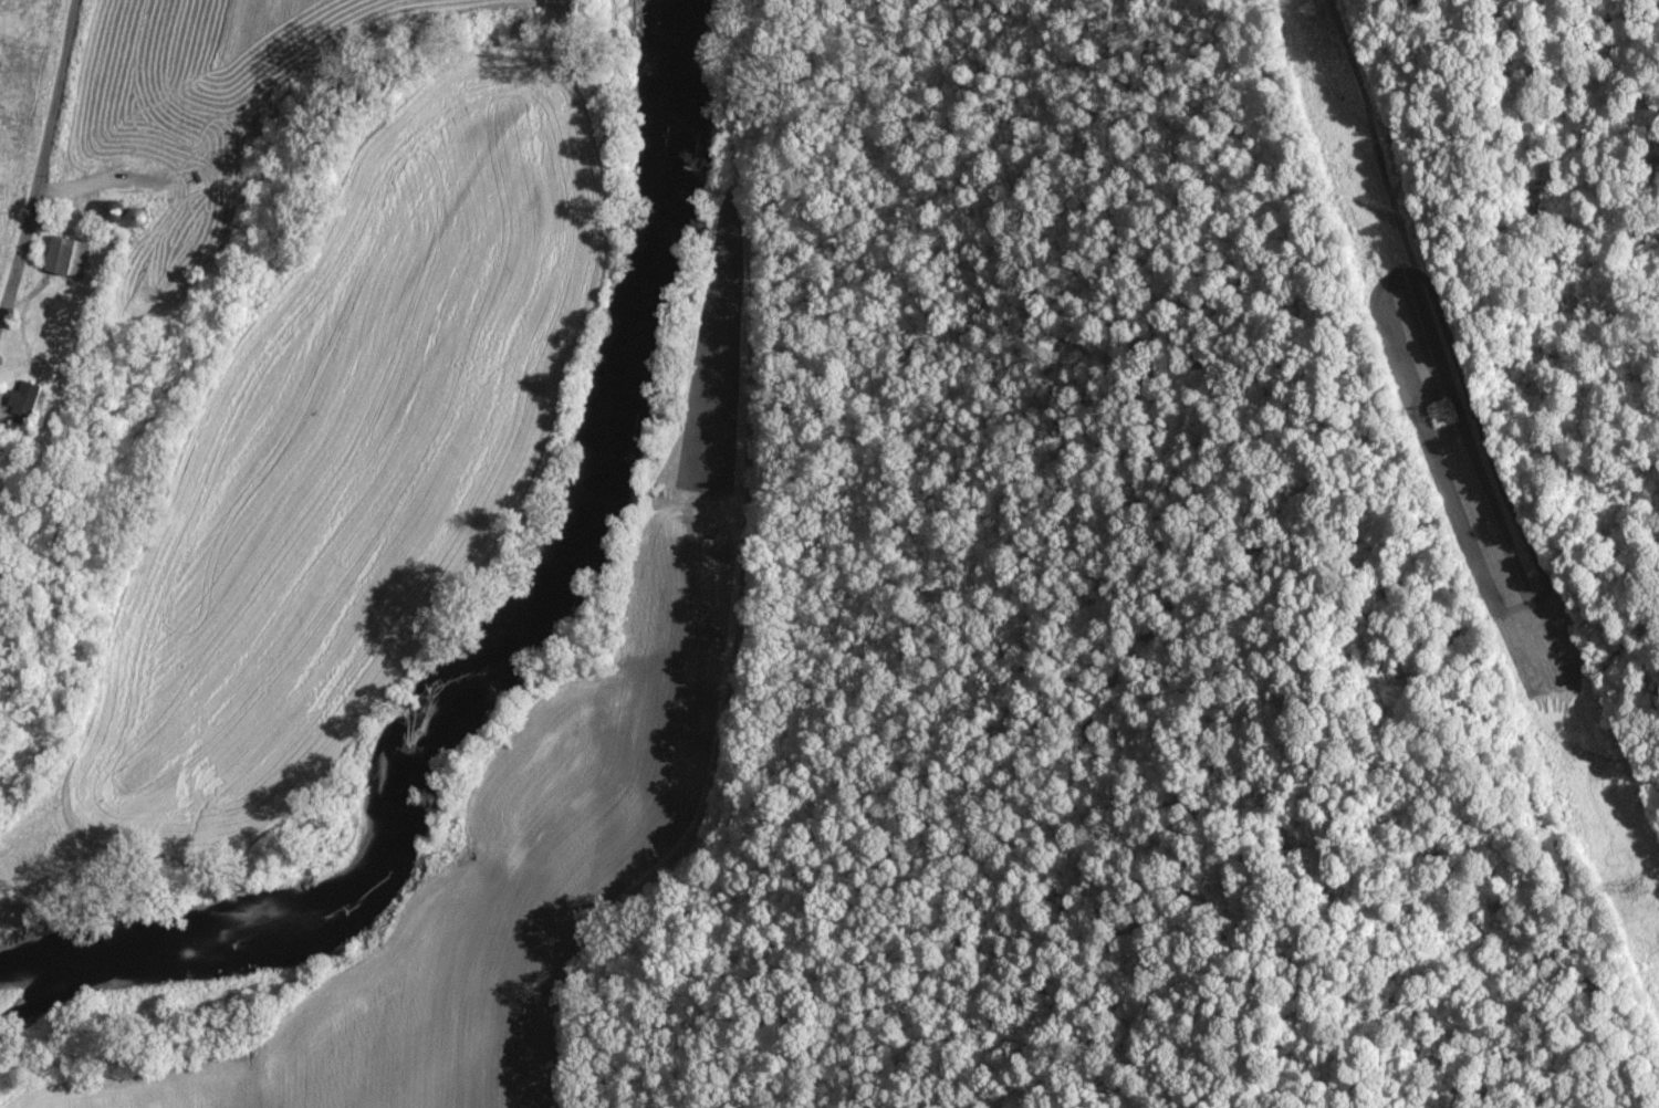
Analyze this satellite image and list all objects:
road: (342, 18)
road: (38, 151)
building: (71, 258)
building: (29, 400)
power tower: (1431, 416)
power tower: (1617, 878)

